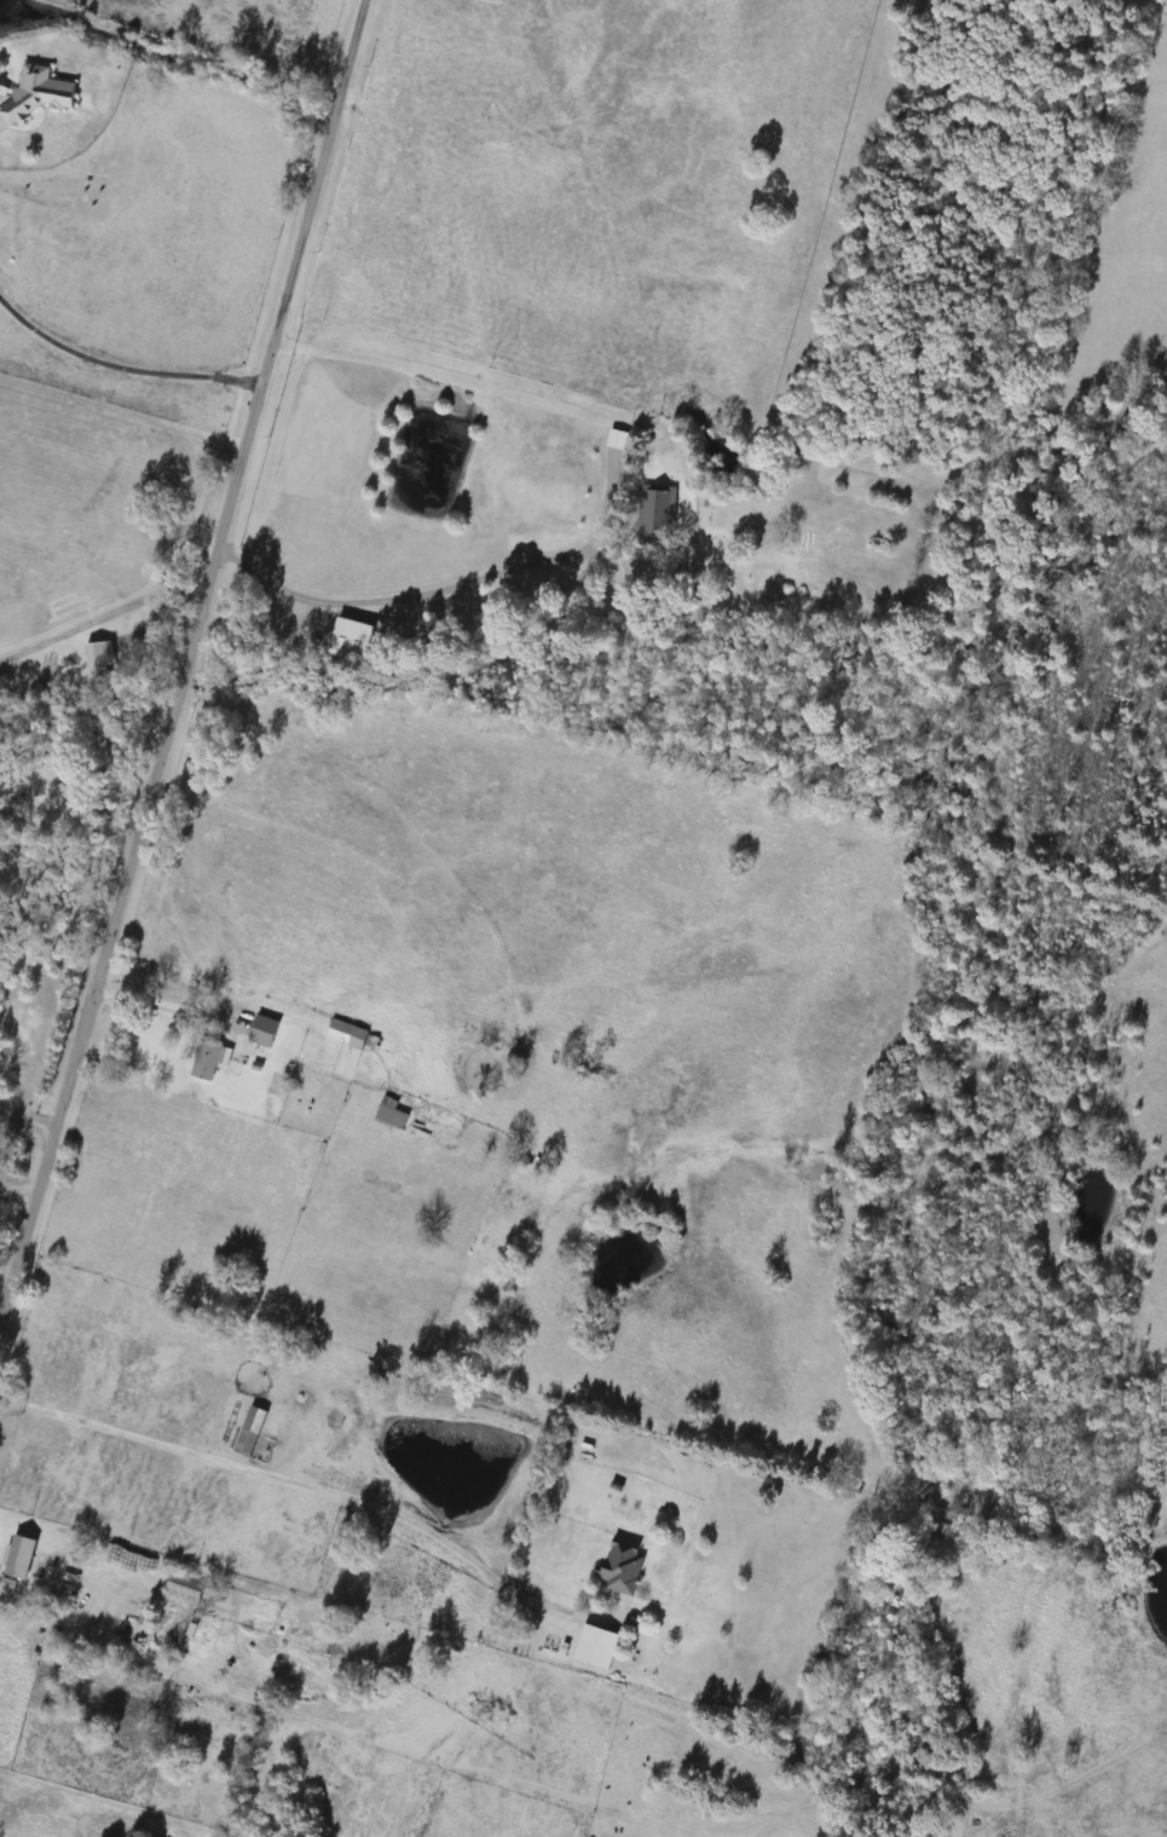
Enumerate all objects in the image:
building: (39, 92)
road: (117, 364)
building: (617, 439)
building: (655, 509)
road: (445, 587)
road: (103, 614)
building: (354, 639)
road: (180, 649)
road: (157, 1003)
building: (266, 1032)
building: (348, 1034)
building: (209, 1061)
building: (394, 1114)
road: (23, 1123)
building: (253, 1429)
road: (252, 1471)
building: (21, 1555)
building: (623, 1565)
building: (186, 1587)
building: (597, 1647)

